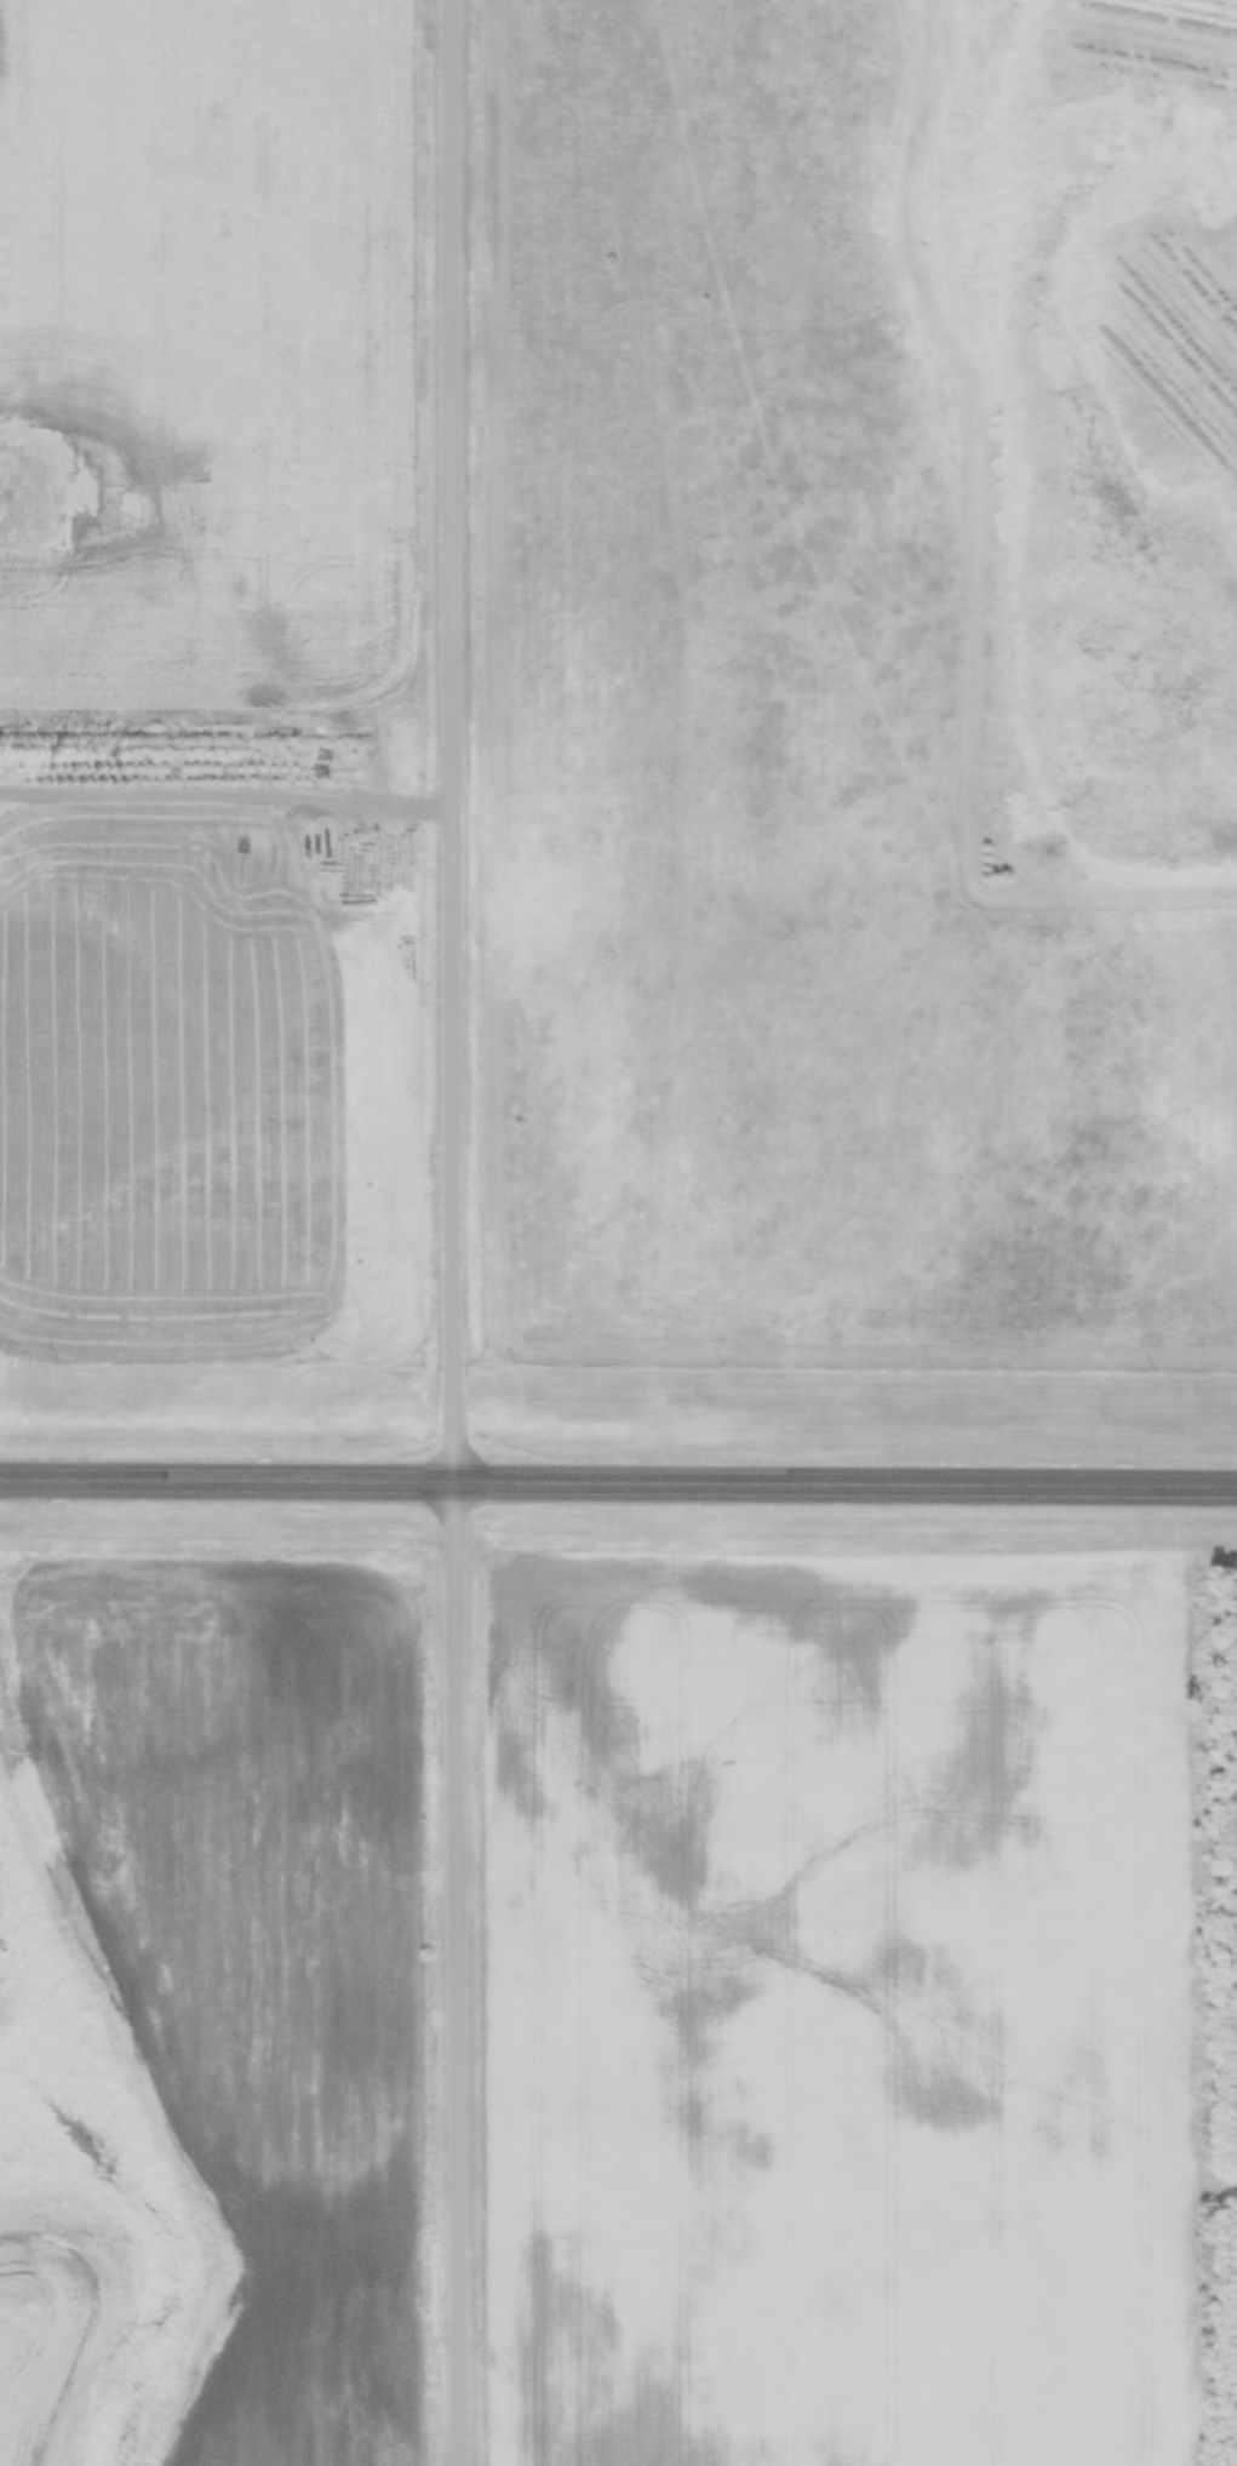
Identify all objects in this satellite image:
road: (228, 802)
building: (1021, 819)
road: (457, 1232)
road: (618, 1480)

